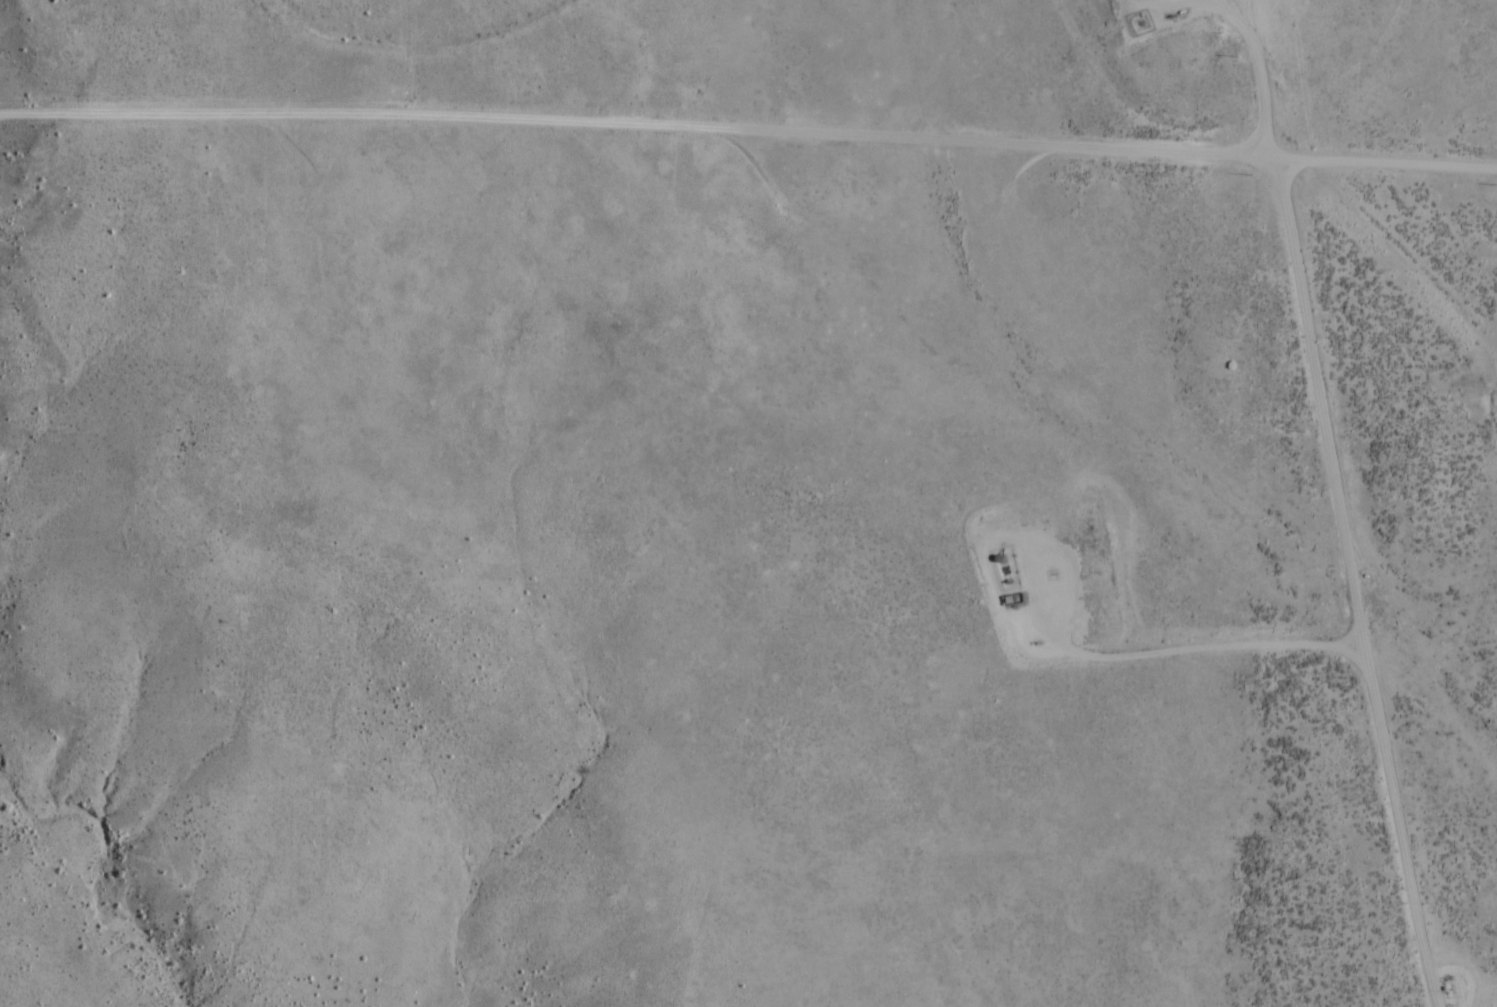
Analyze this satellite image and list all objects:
road: (754, 142)
road: (1272, 505)

